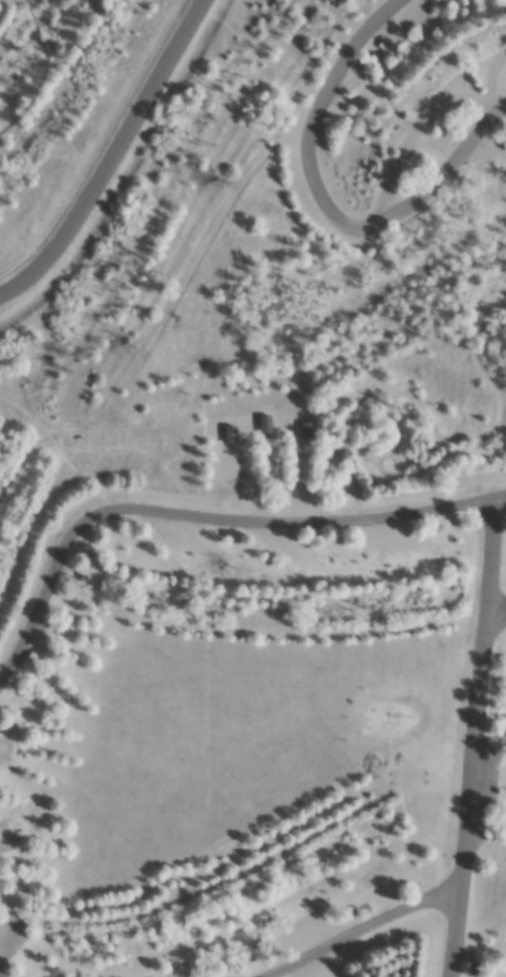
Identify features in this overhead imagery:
road: (45, 73)
road: (113, 158)
road: (323, 206)
building: (266, 424)
building: (308, 431)
building: (230, 434)
park: (253, 488)
road: (501, 496)
road: (197, 512)
road: (497, 606)
road: (478, 737)
road: (362, 926)
road: (2, 971)
road: (2, 971)

